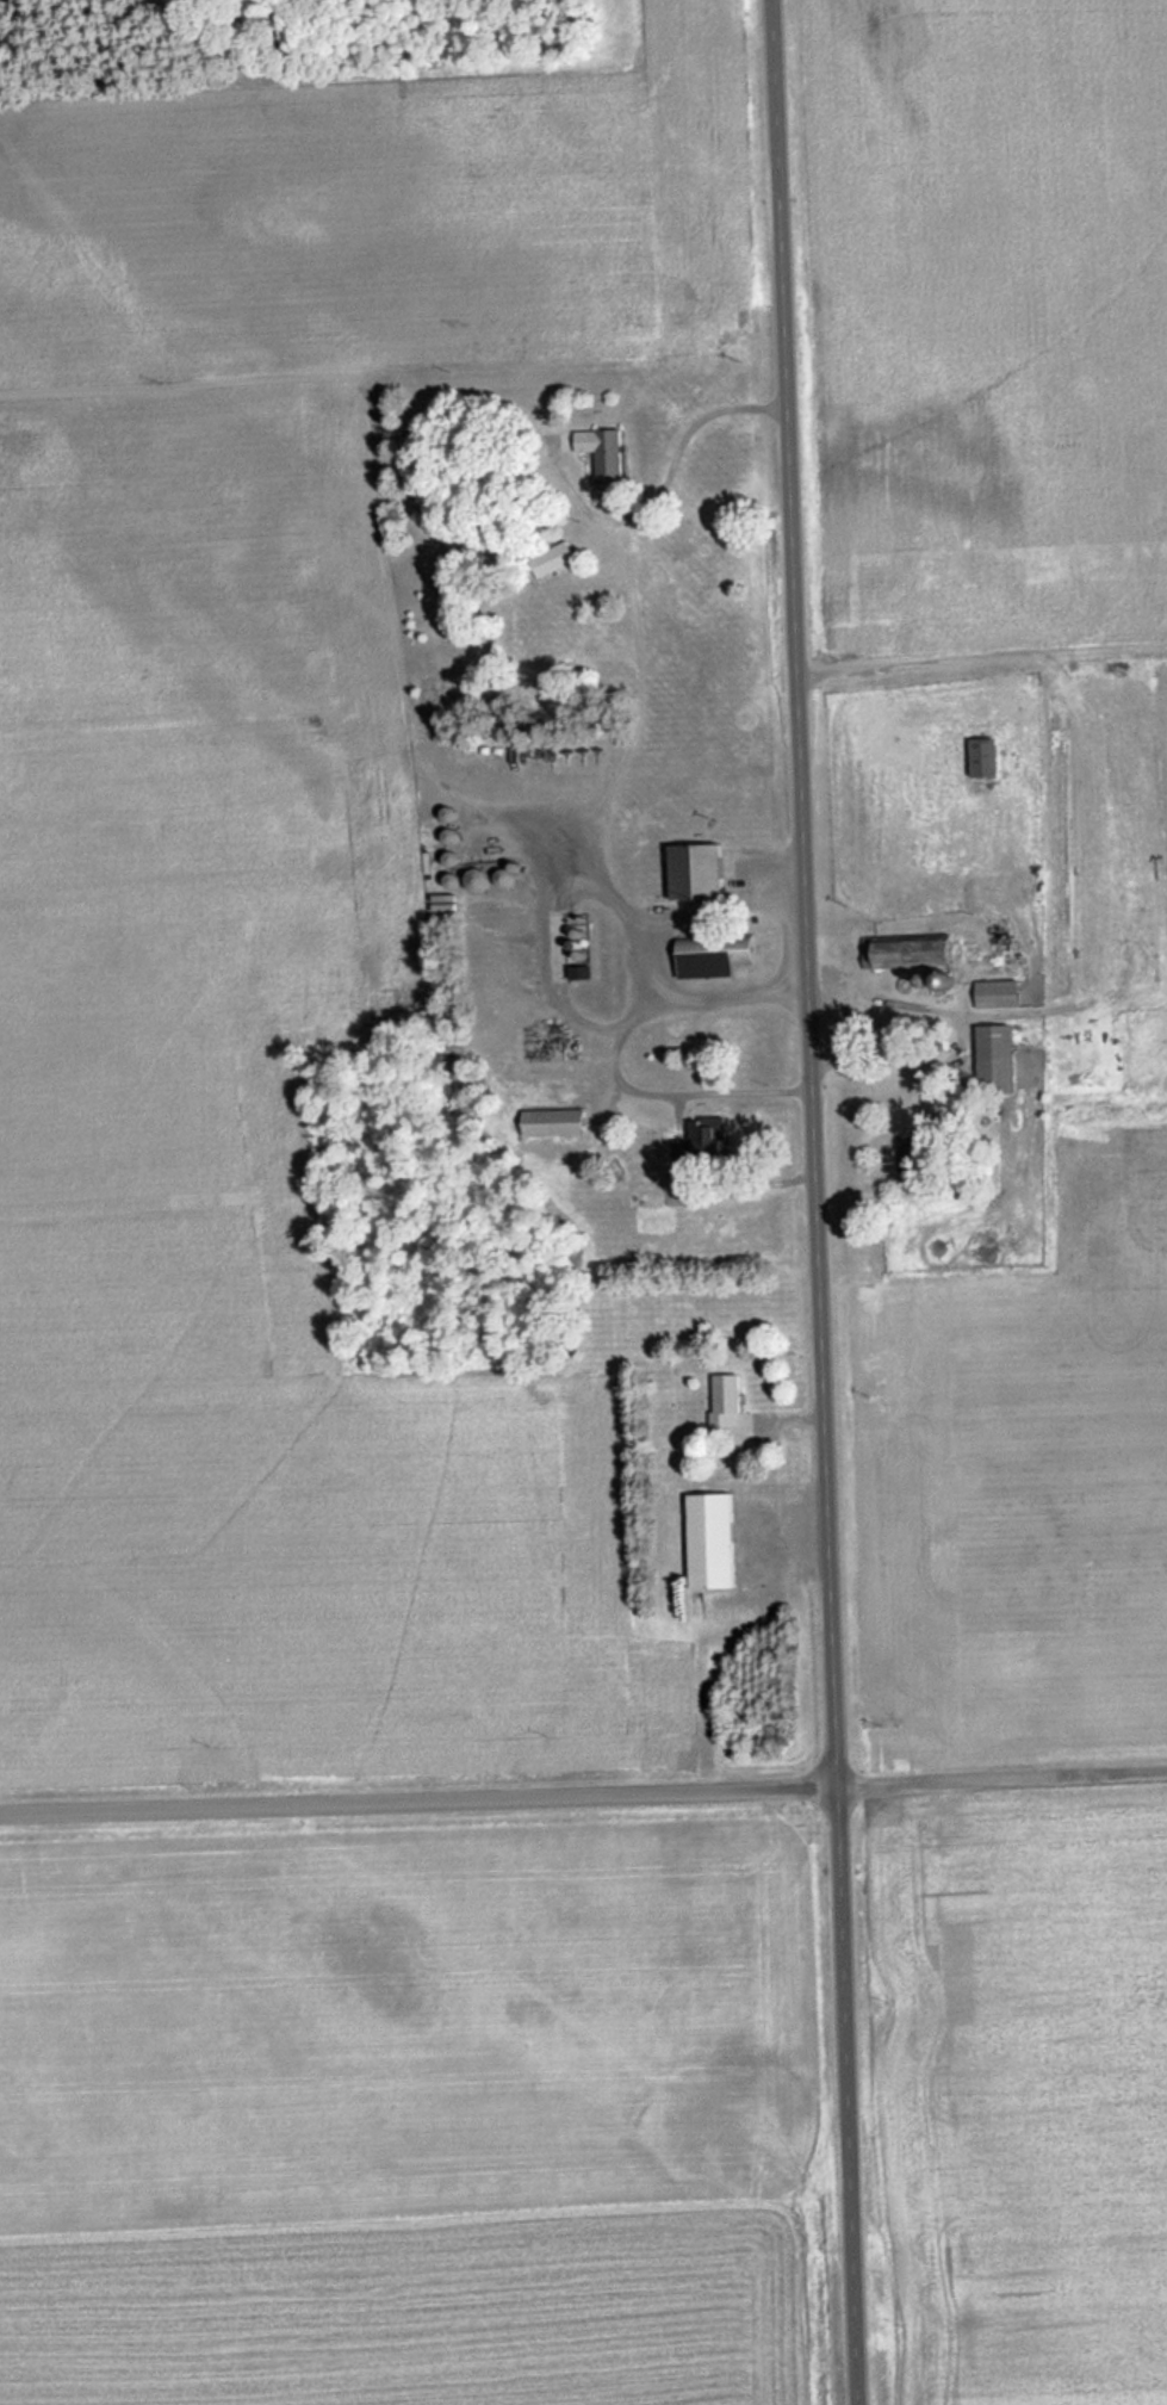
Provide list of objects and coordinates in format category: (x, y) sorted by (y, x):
building: (606, 452)
building: (548, 559)
building: (980, 756)
building: (693, 870)
building: (474, 880)
building: (905, 952)
building: (575, 953)
building: (710, 954)
building: (995, 993)
building: (993, 1059)
building: (551, 1122)
building: (694, 1141)
building: (911, 1158)
road: (809, 1202)
building: (724, 1400)
building: (708, 1541)
road: (583, 1793)

